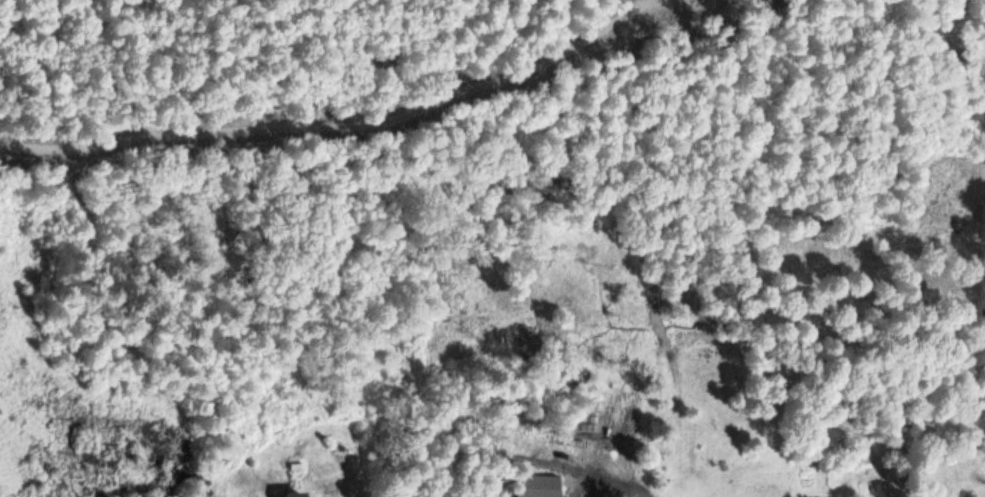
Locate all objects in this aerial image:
building: (534, 492)
building: (293, 494)

